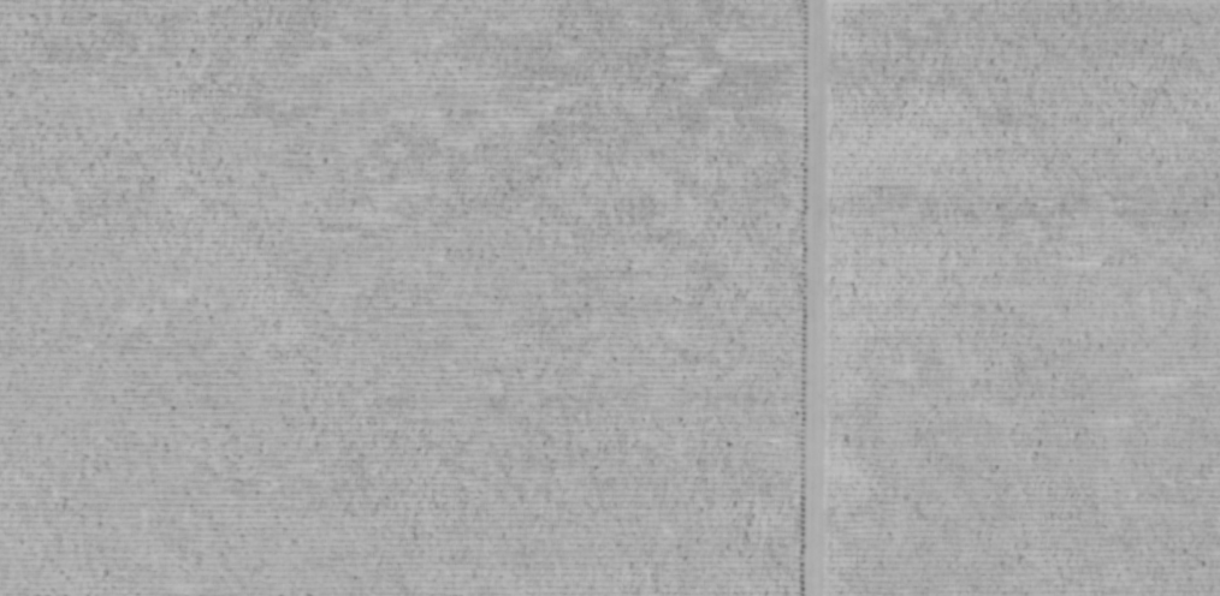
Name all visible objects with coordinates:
crop: (396, 297)
road: (806, 298)
crop: (1017, 298)

